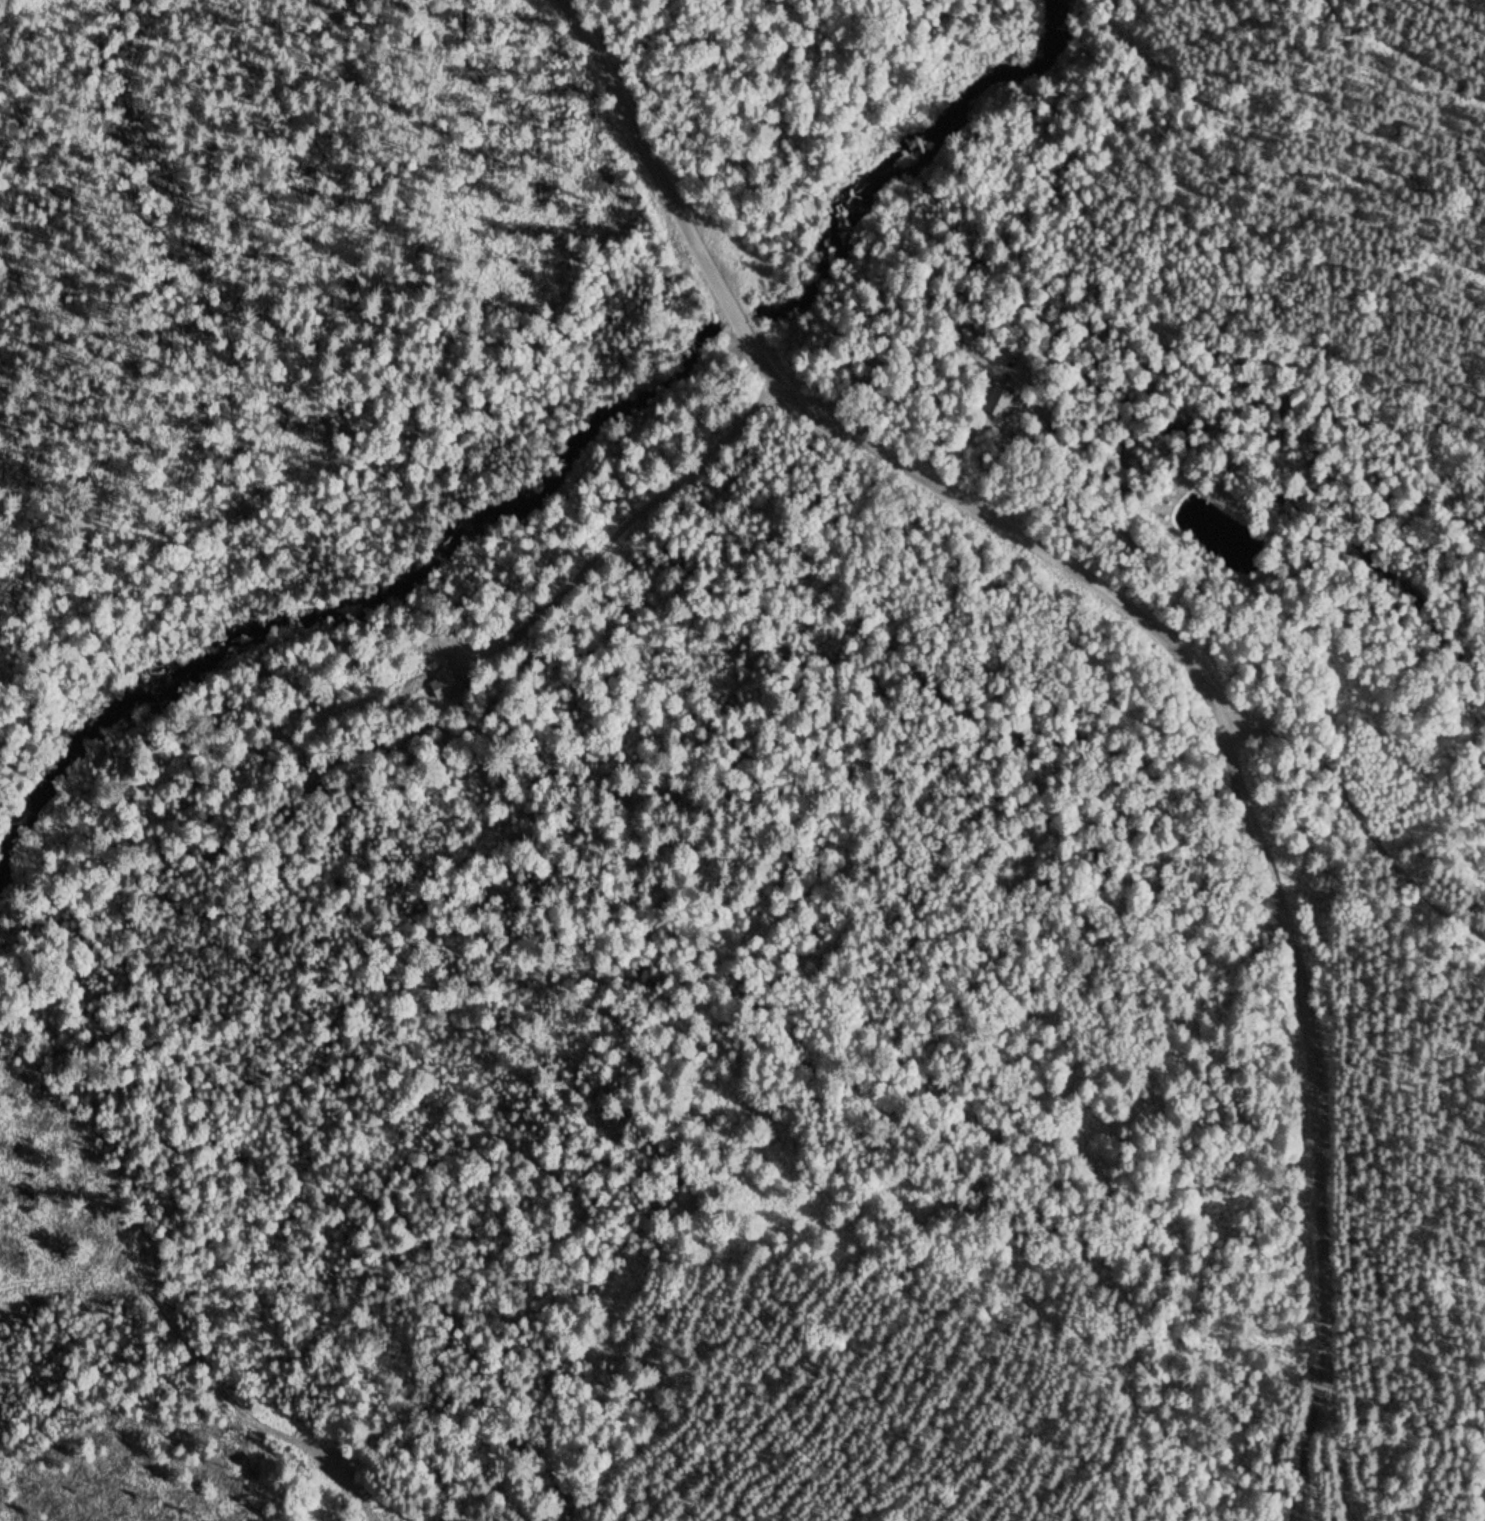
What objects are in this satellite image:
road: (669, 196)
building: (999, 400)
road: (634, 520)
building: (442, 673)
road: (1356, 801)
road: (1261, 841)
road: (226, 1396)
road: (1323, 1481)

